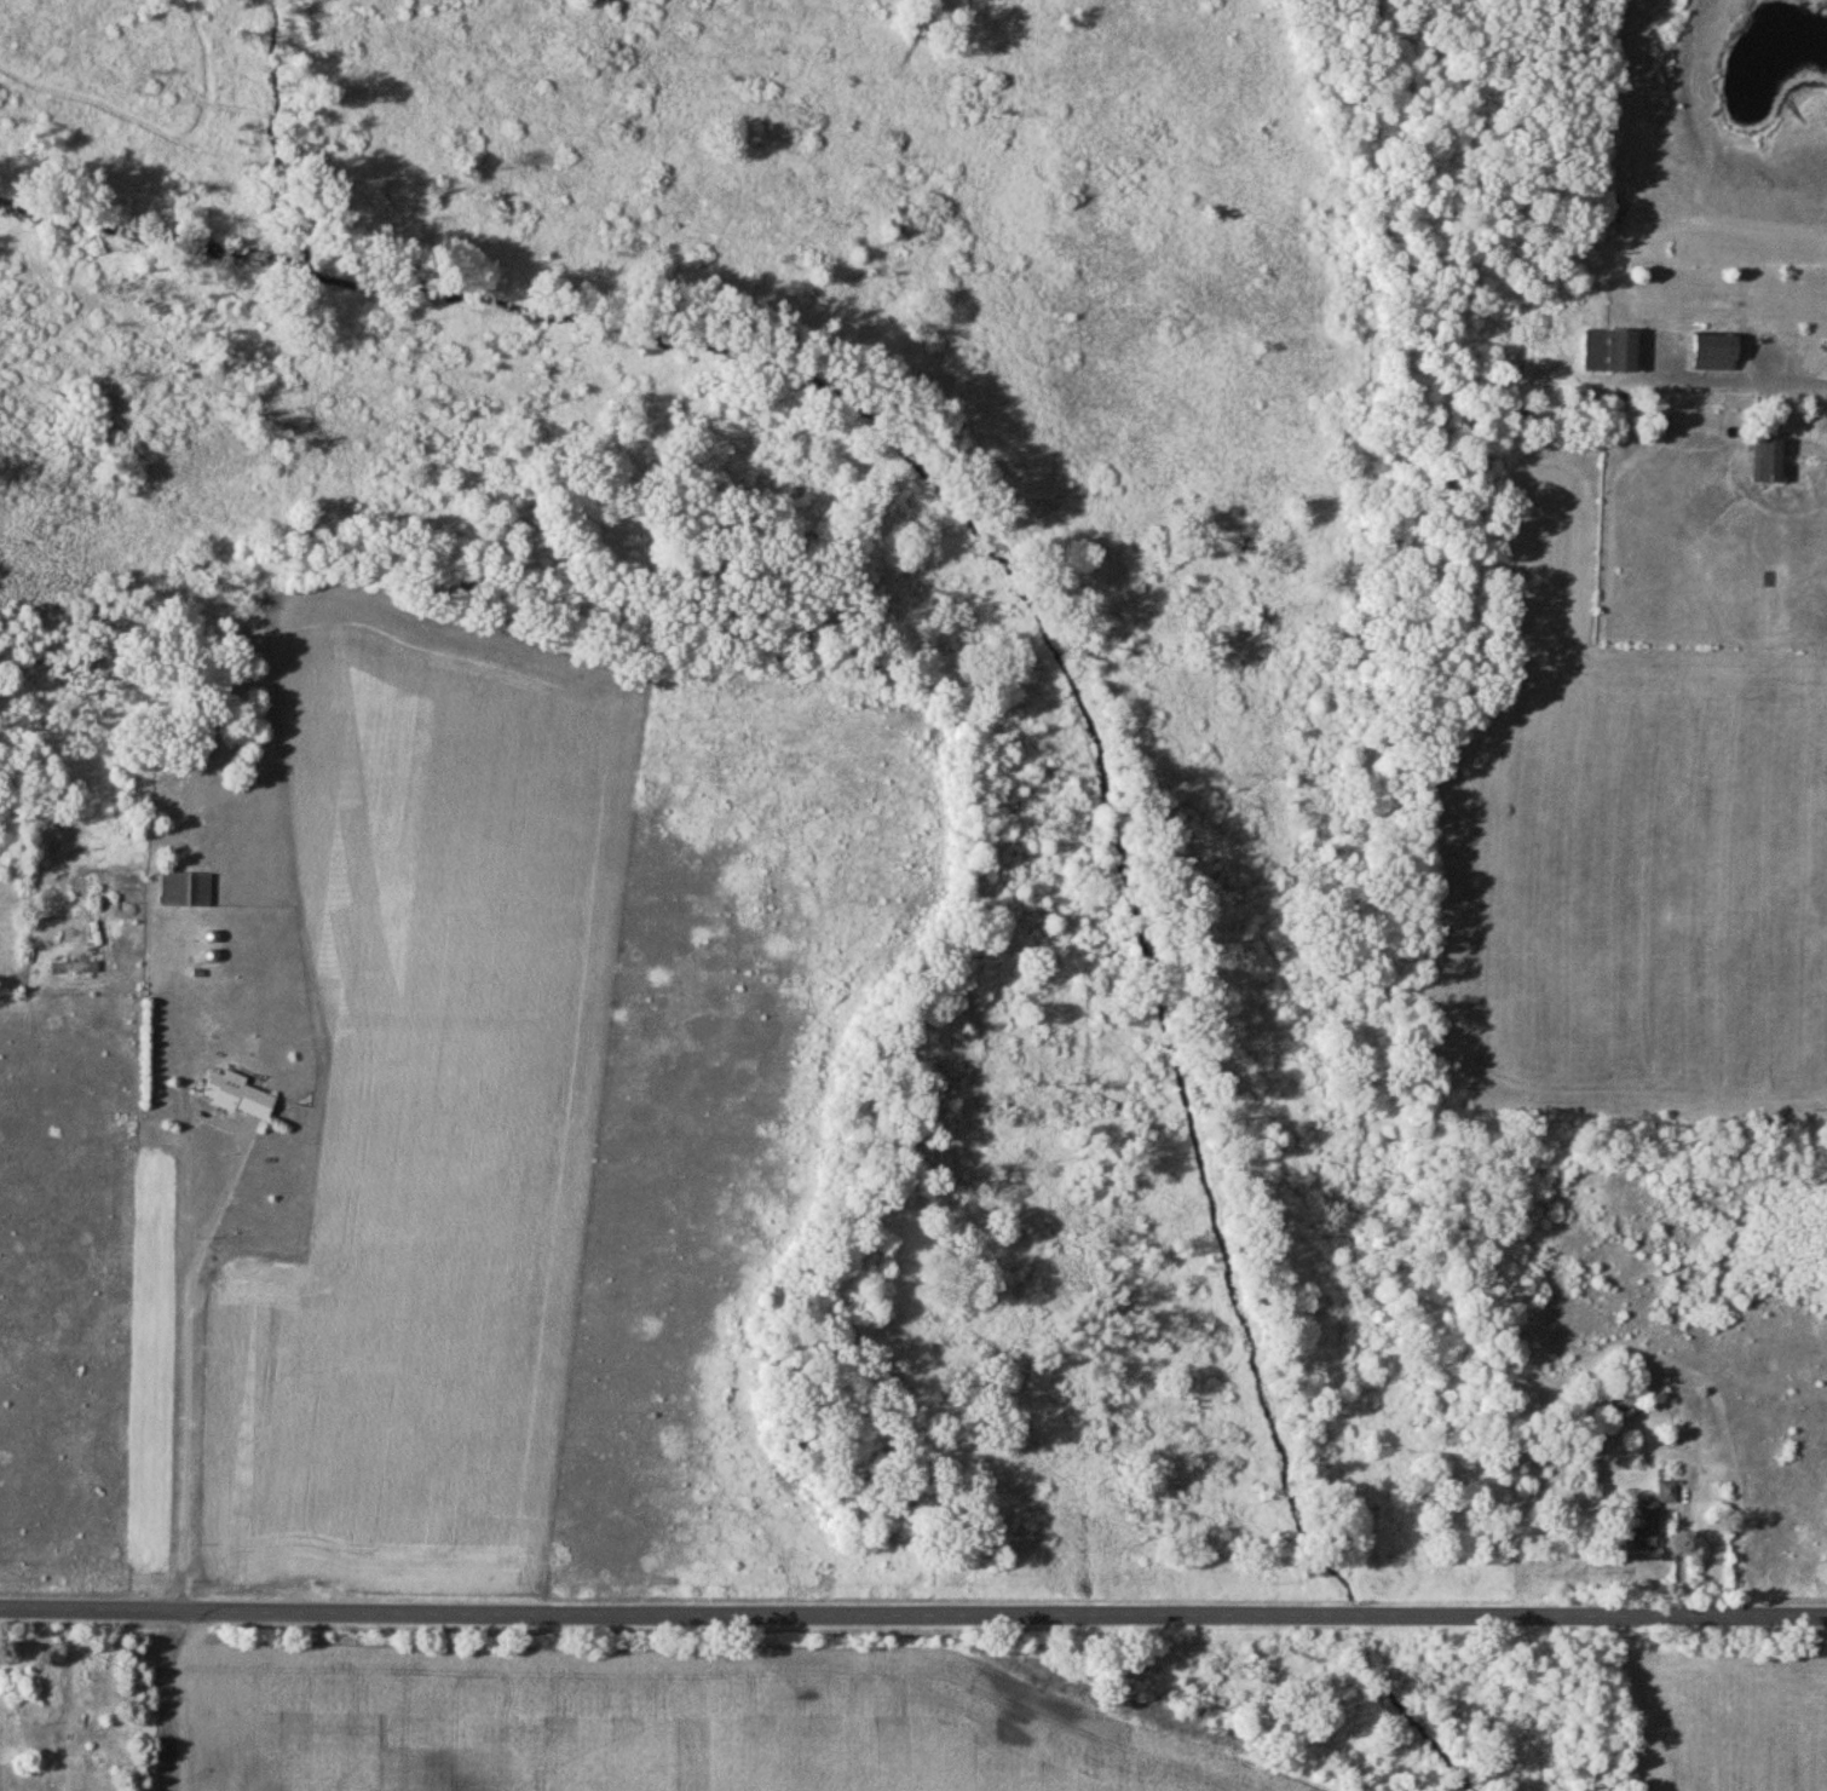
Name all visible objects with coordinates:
building: (1610, 350)
building: (1714, 351)
road: (1806, 376)
building: (1768, 460)
building: (73, 968)
road: (179, 1008)
building: (236, 1094)
road: (225, 1185)
road: (186, 1347)
building: (1650, 1520)
road: (912, 1607)
building: (17, 1676)

